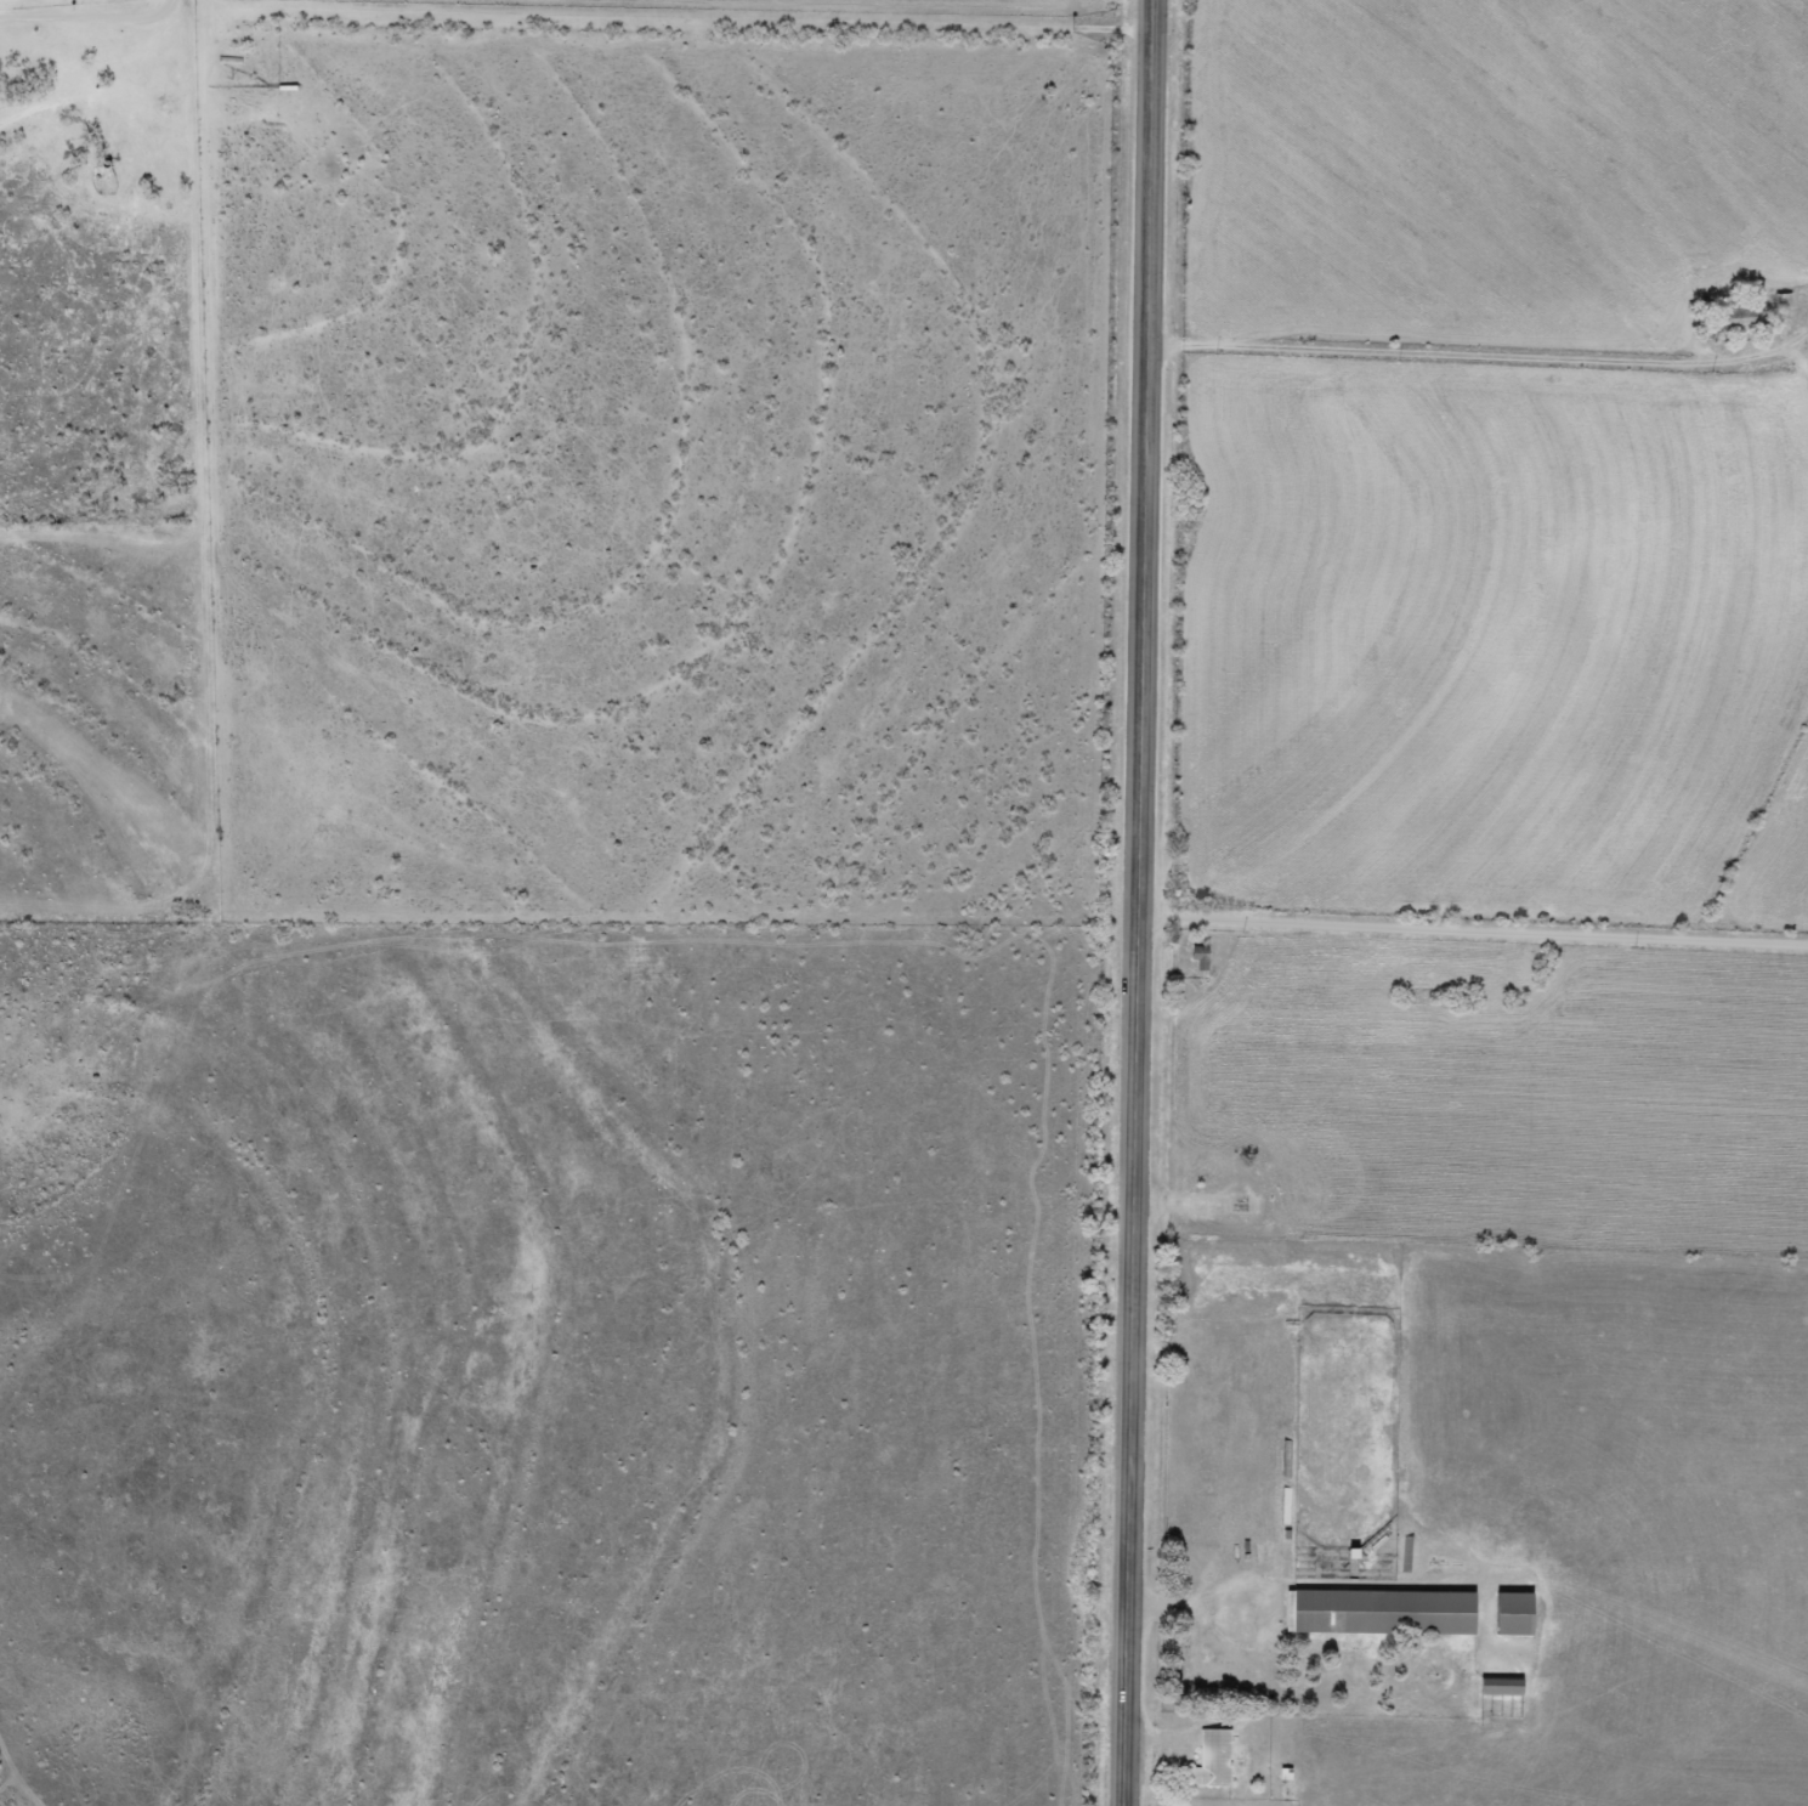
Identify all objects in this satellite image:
road: (574, 16)
road: (27, 60)
building: (1732, 316)
road: (1477, 353)
road: (1135, 902)
road: (1470, 947)
building: (1191, 957)
building: (1370, 1612)
building: (1502, 1613)
building: (1490, 1685)
building: (1203, 1759)

